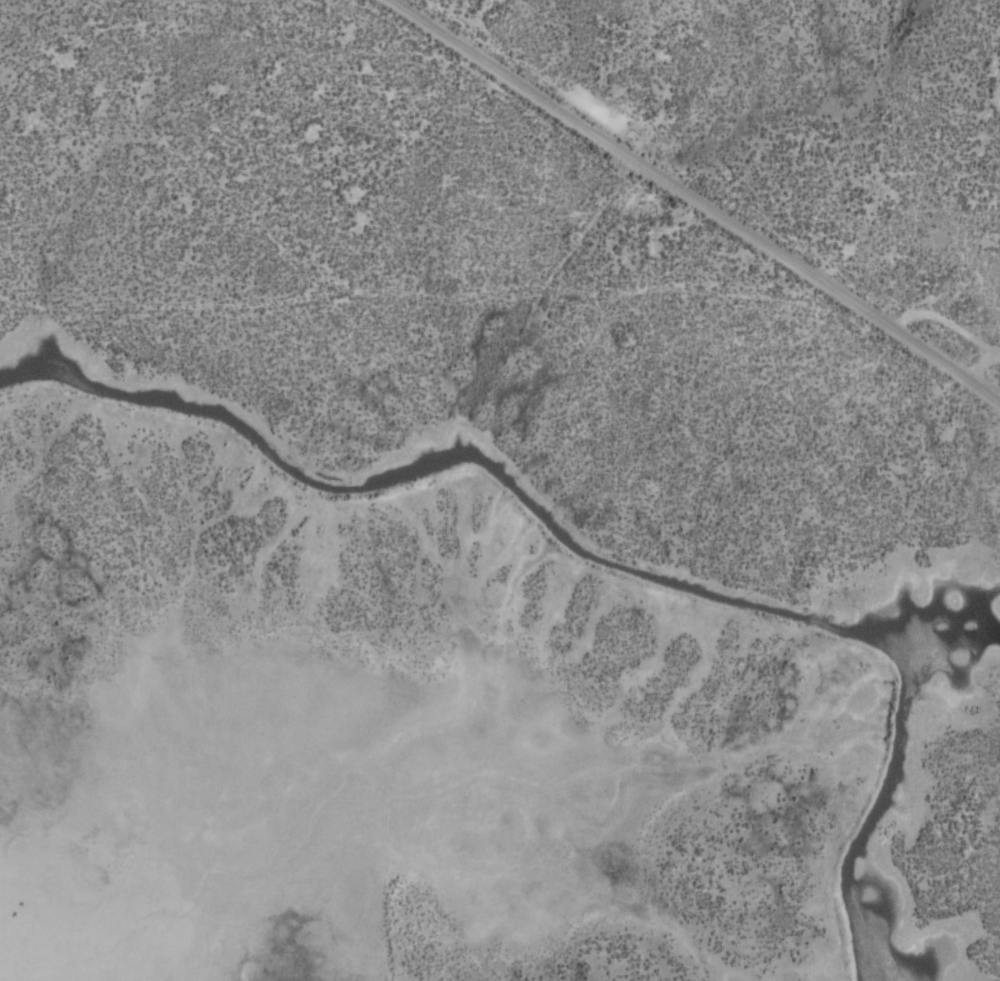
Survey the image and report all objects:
road: (692, 199)
road: (949, 320)
road: (981, 362)

